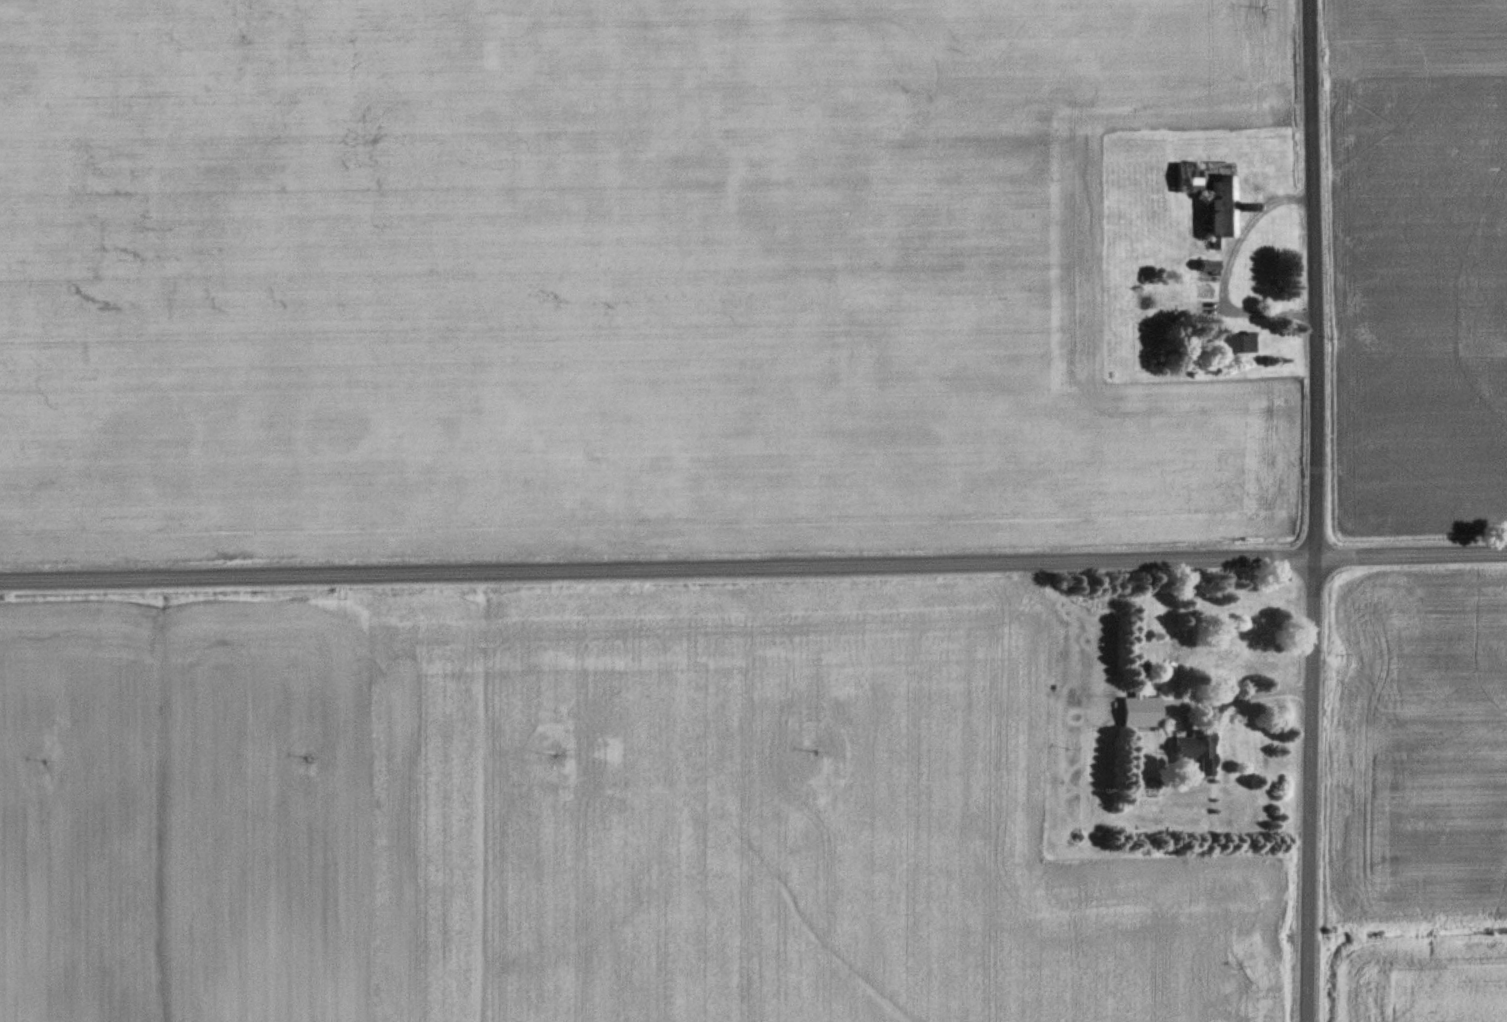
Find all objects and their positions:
building: (1213, 193)
road: (1223, 271)
building: (1198, 311)
building: (1235, 342)
road: (1314, 510)
road: (753, 564)
road: (1172, 696)
building: (1142, 713)
building: (1197, 753)

